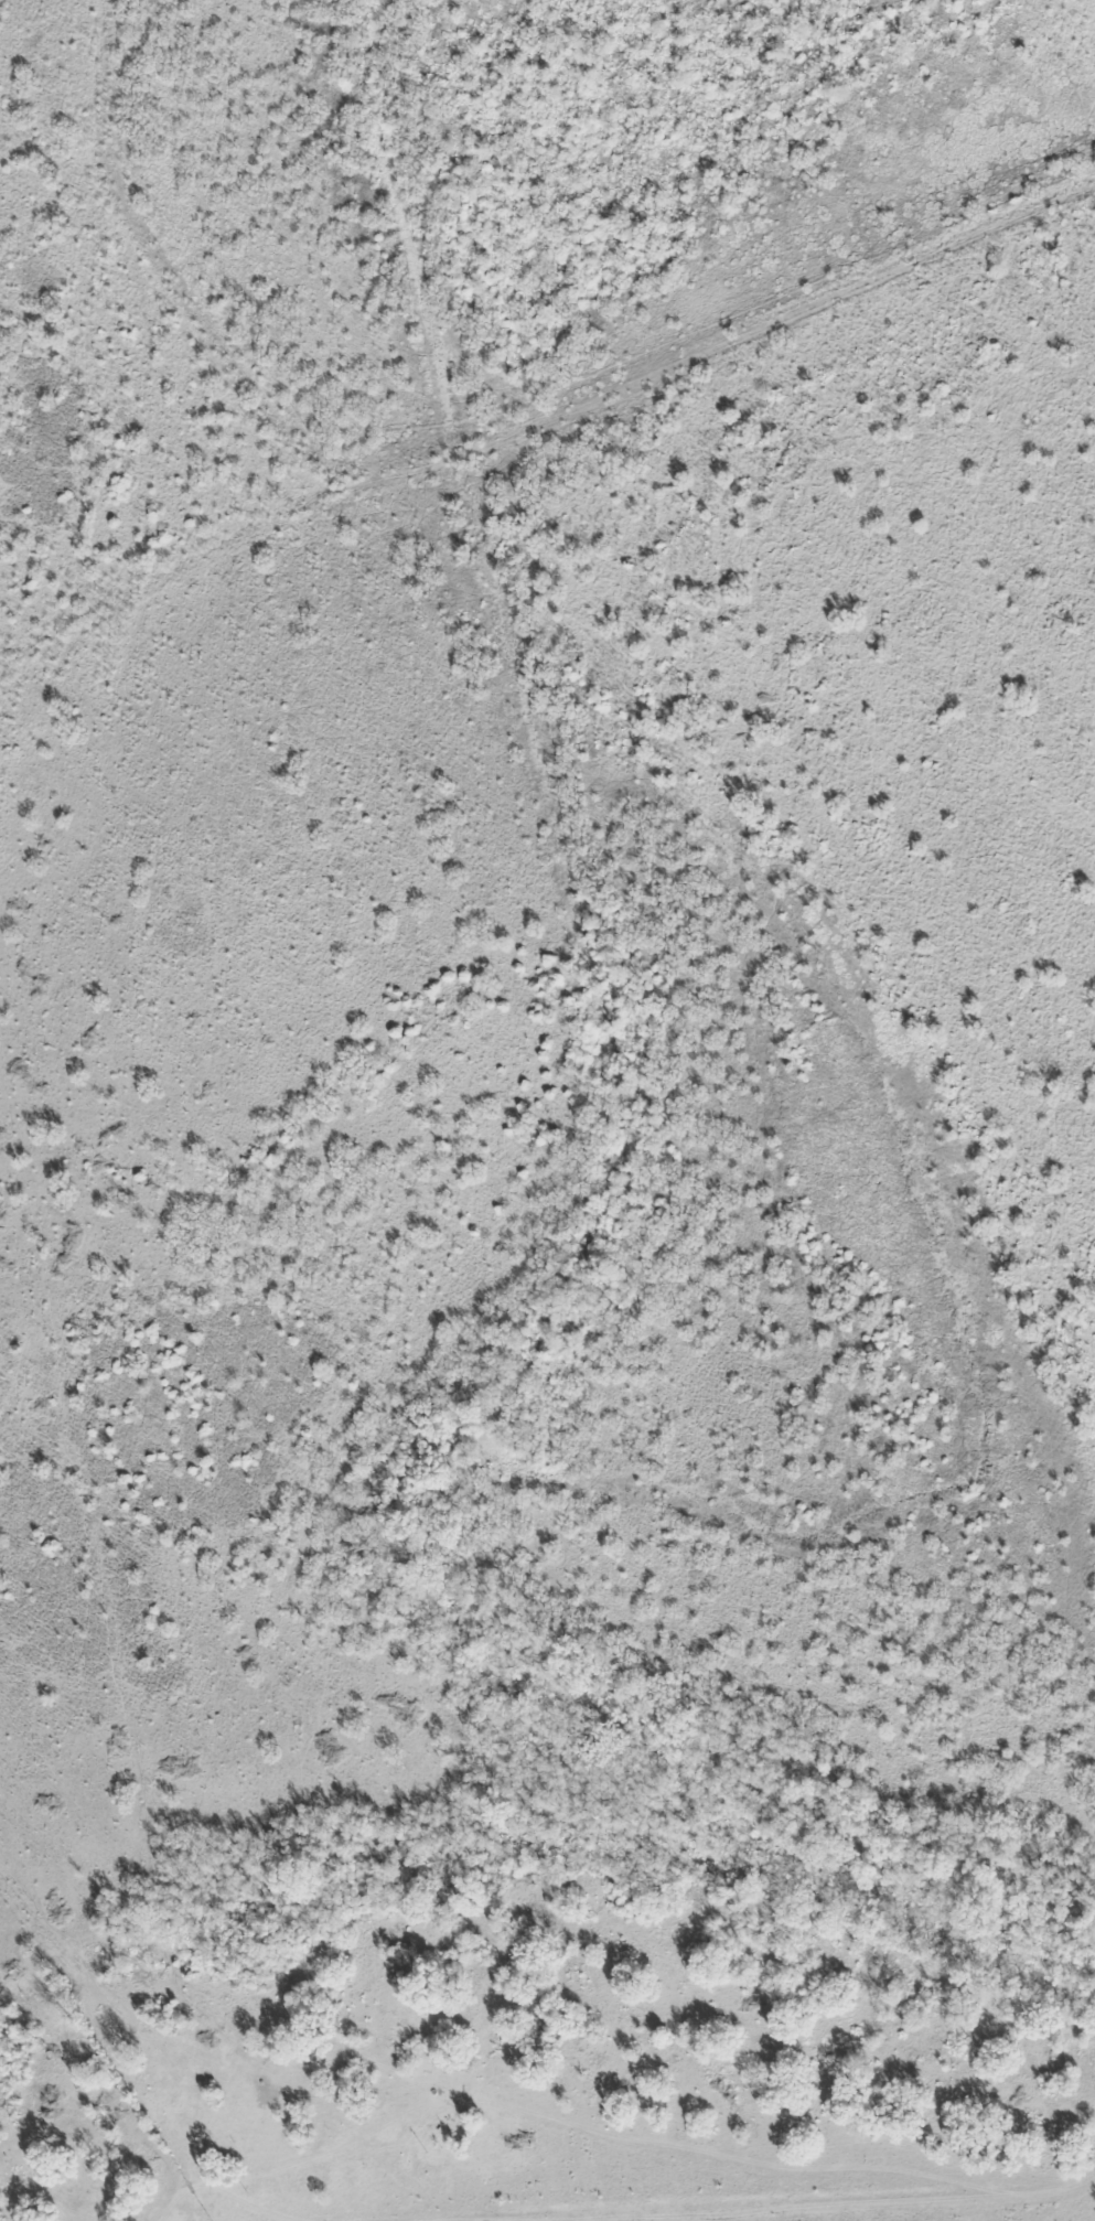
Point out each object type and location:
road: (1028, 2206)

